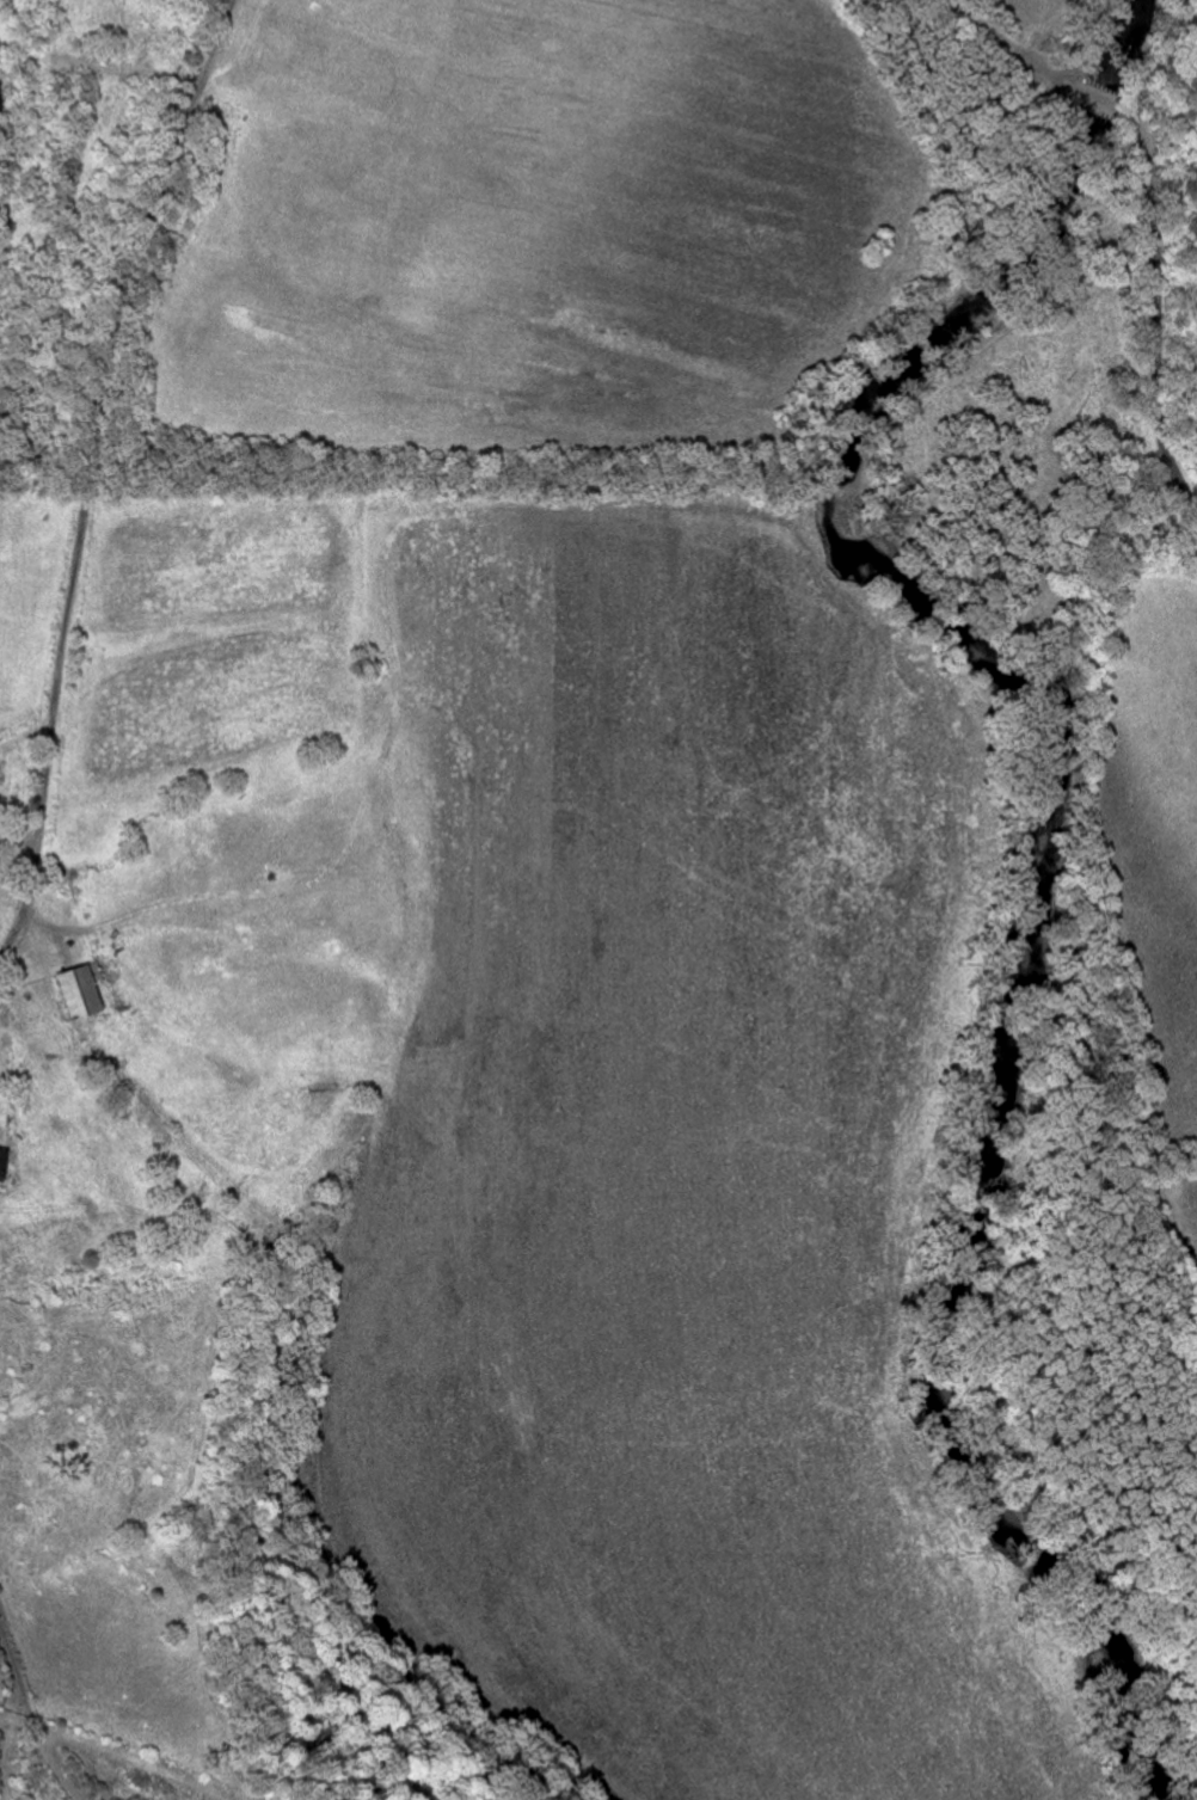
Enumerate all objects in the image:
road: (1158, 191)
road: (87, 472)
building: (74, 993)
road: (13, 1666)
road: (50, 1753)

